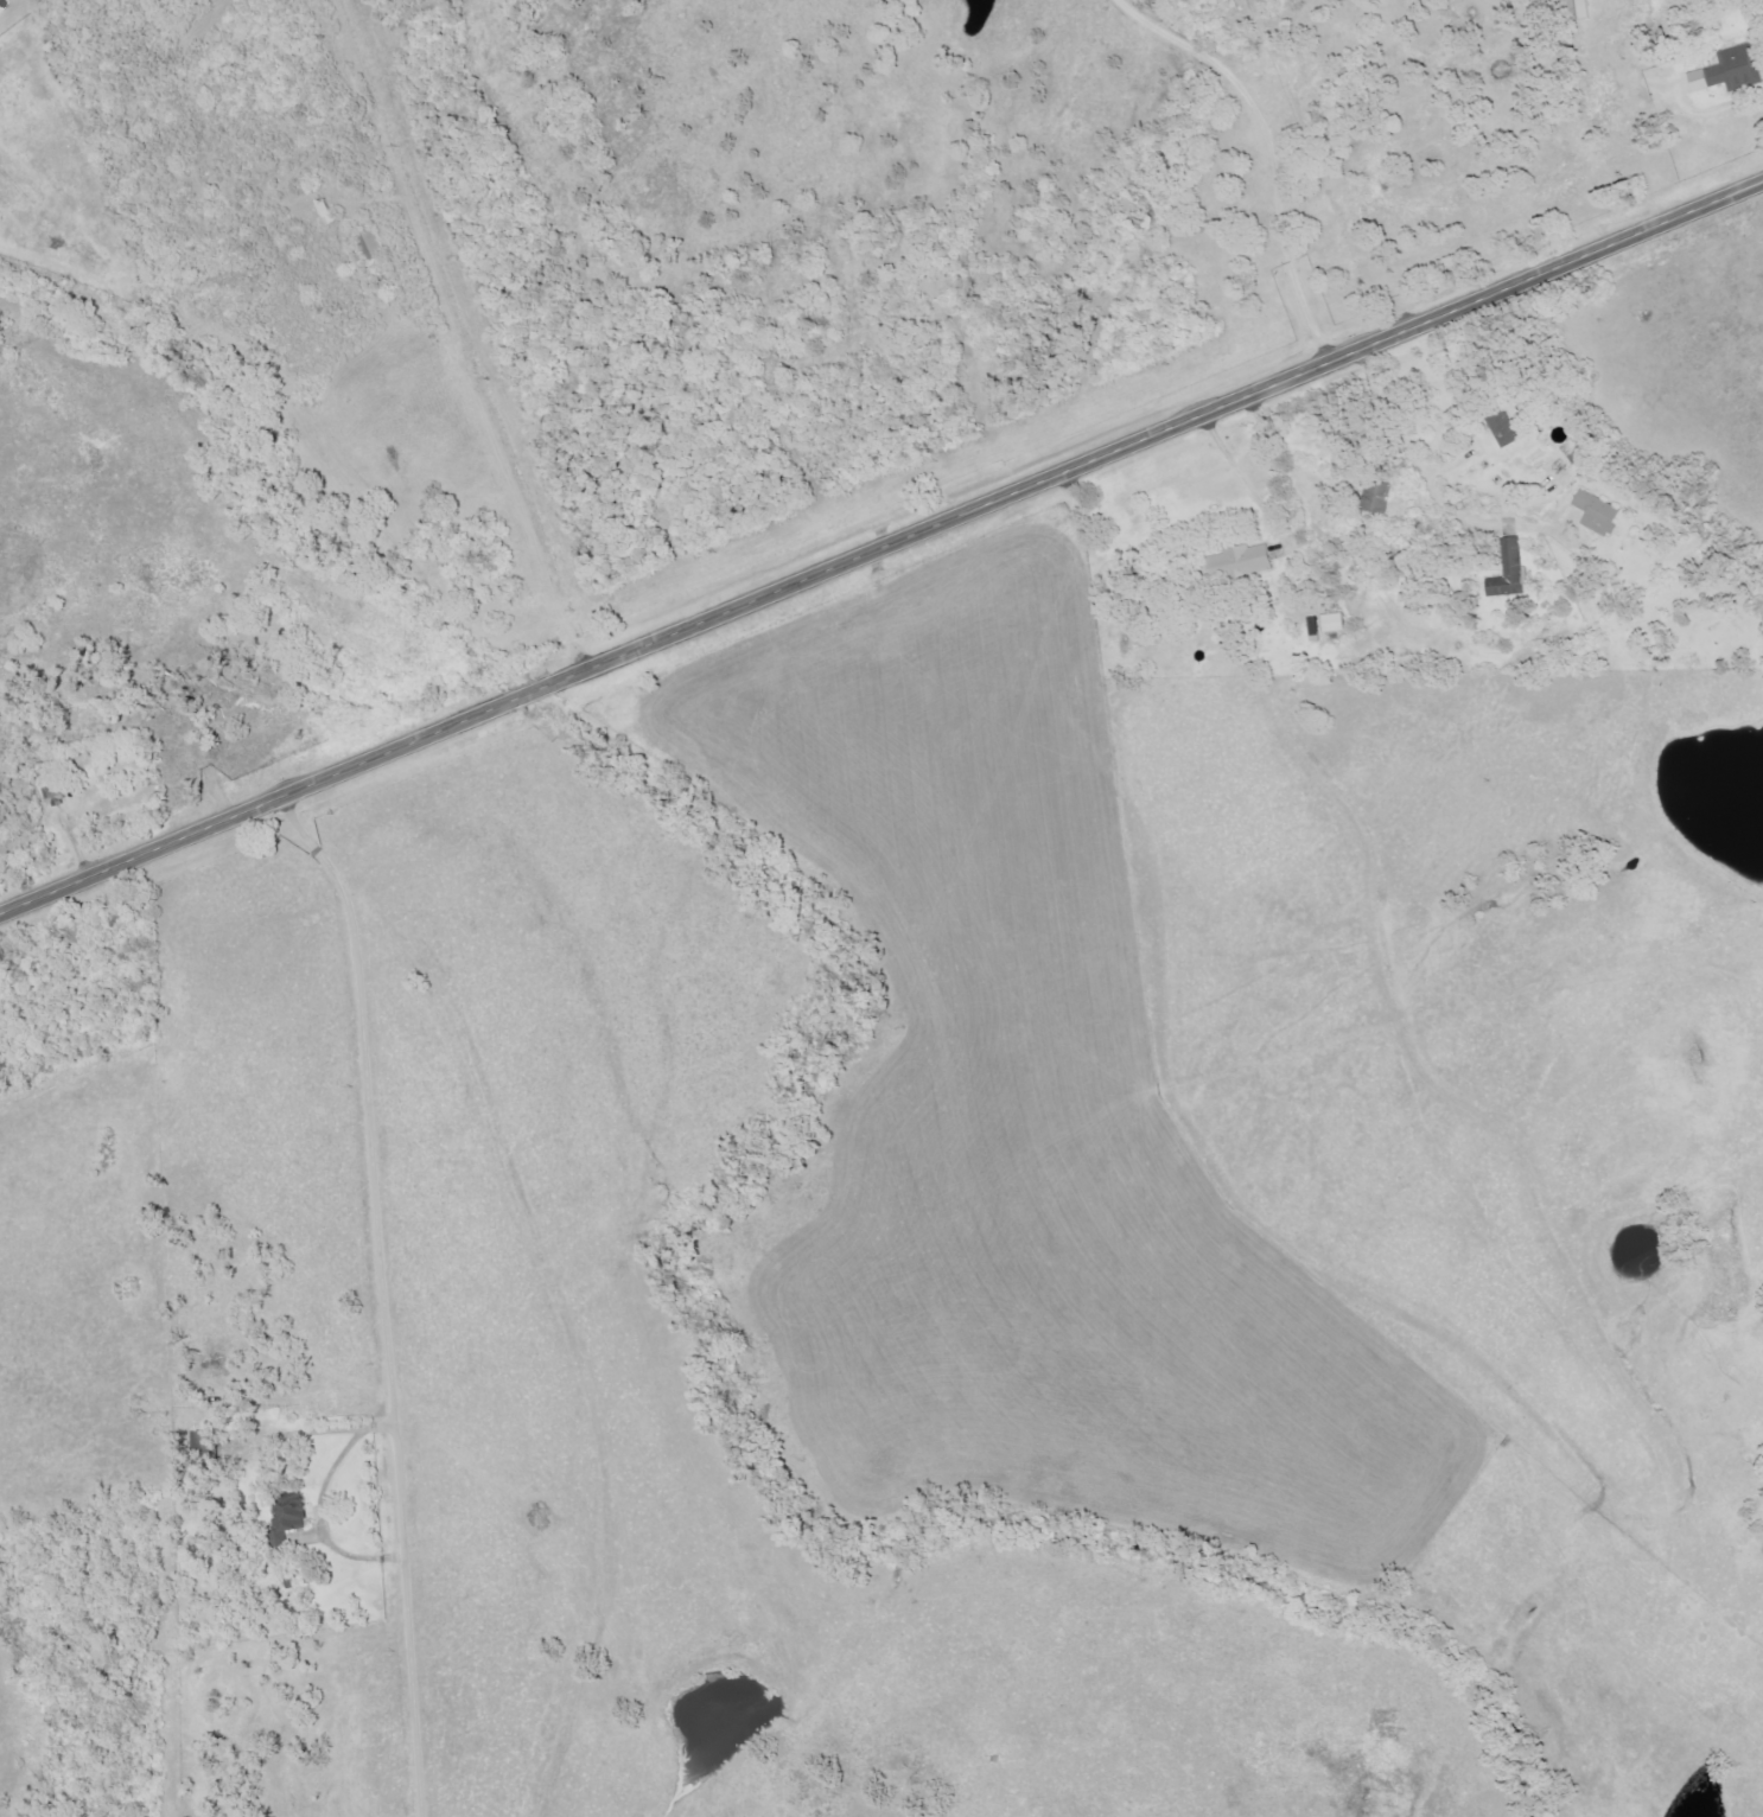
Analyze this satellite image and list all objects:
building: (1574, 9)
building: (1726, 70)
road: (1273, 149)
building: (373, 246)
building: (1503, 428)
building: (1572, 450)
road: (504, 455)
building: (1376, 498)
road: (1266, 511)
building: (1596, 514)
road: (881, 553)
building: (1237, 562)
building: (1509, 572)
building: (1332, 624)
road: (386, 1296)
building: (287, 1523)
road: (346, 1560)

